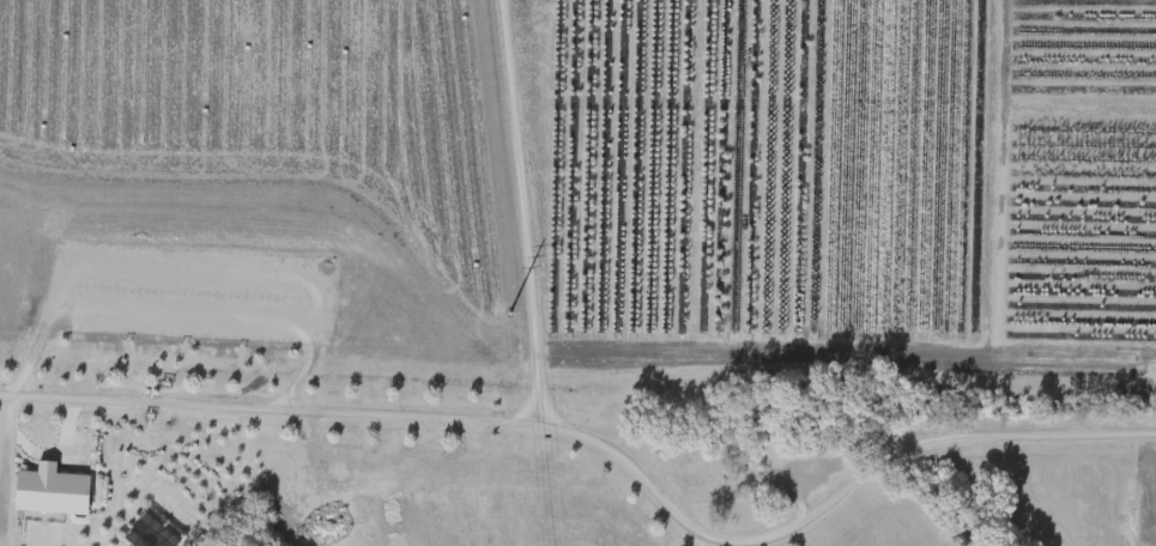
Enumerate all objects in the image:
road: (522, 214)
road: (188, 314)
power tower: (491, 318)
road: (381, 419)
road: (0, 439)
road: (943, 444)
road: (52, 459)
building: (48, 491)

